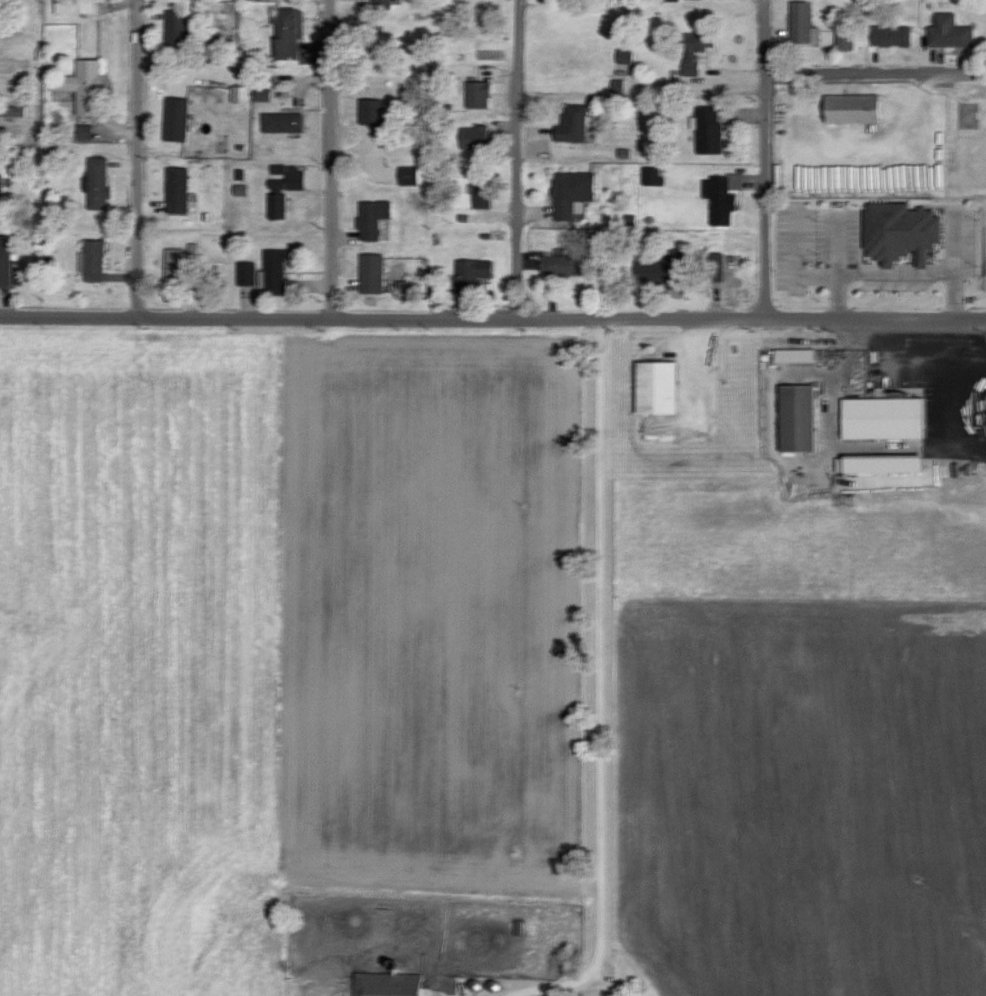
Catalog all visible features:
building: (668, 0)
building: (379, 4)
building: (73, 6)
building: (802, 24)
building: (174, 27)
building: (285, 32)
building: (947, 32)
building: (889, 36)
building: (843, 42)
building: (693, 50)
building: (625, 56)
road: (874, 72)
building: (82, 85)
road: (691, 86)
building: (238, 94)
building: (259, 94)
building: (475, 95)
building: (850, 108)
building: (13, 111)
building: (368, 111)
building: (173, 119)
building: (279, 122)
building: (570, 124)
building: (706, 130)
building: (83, 132)
building: (474, 138)
road: (138, 156)
road: (334, 157)
road: (518, 157)
road: (765, 159)
building: (406, 175)
building: (651, 177)
building: (283, 178)
building: (95, 184)
building: (174, 190)
building: (0, 191)
building: (480, 191)
building: (569, 193)
building: (720, 196)
building: (274, 206)
building: (369, 218)
building: (897, 232)
building: (4, 260)
building: (89, 260)
building: (182, 261)
building: (560, 265)
building: (715, 267)
building: (272, 272)
building: (245, 273)
building: (369, 274)
building: (657, 274)
building: (469, 275)
road: (493, 315)
building: (792, 355)
building: (653, 388)
building: (795, 418)
building: (880, 418)
building: (881, 465)
crop: (439, 613)
crop: (136, 638)
road: (600, 687)
building: (385, 984)

